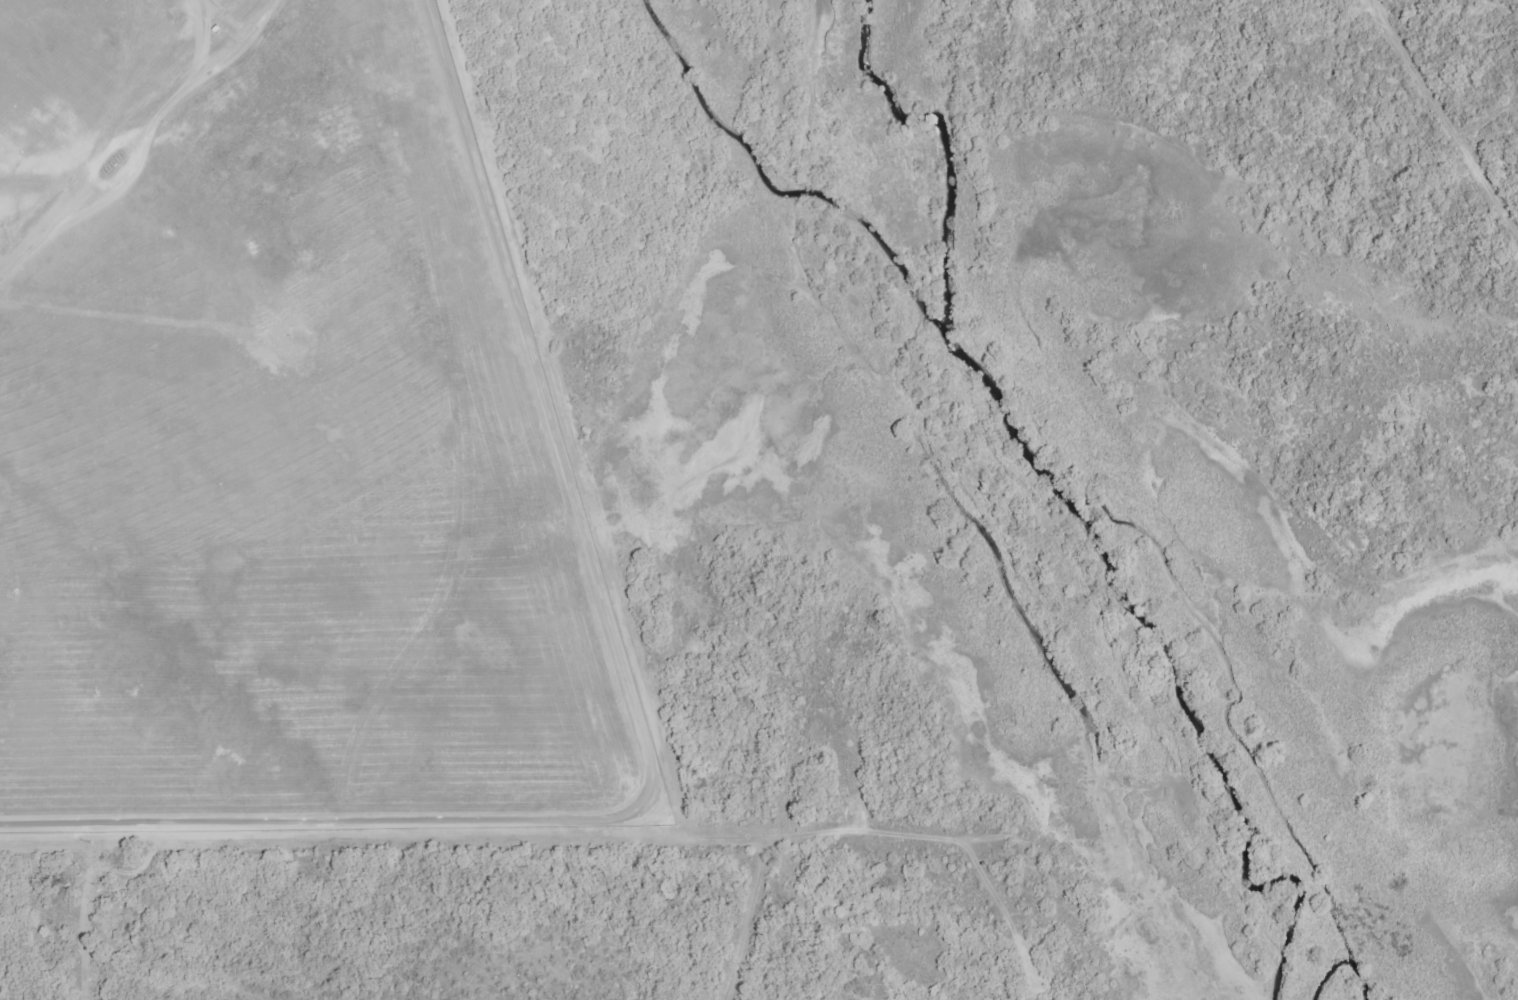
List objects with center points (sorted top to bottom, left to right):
road: (136, 139)

